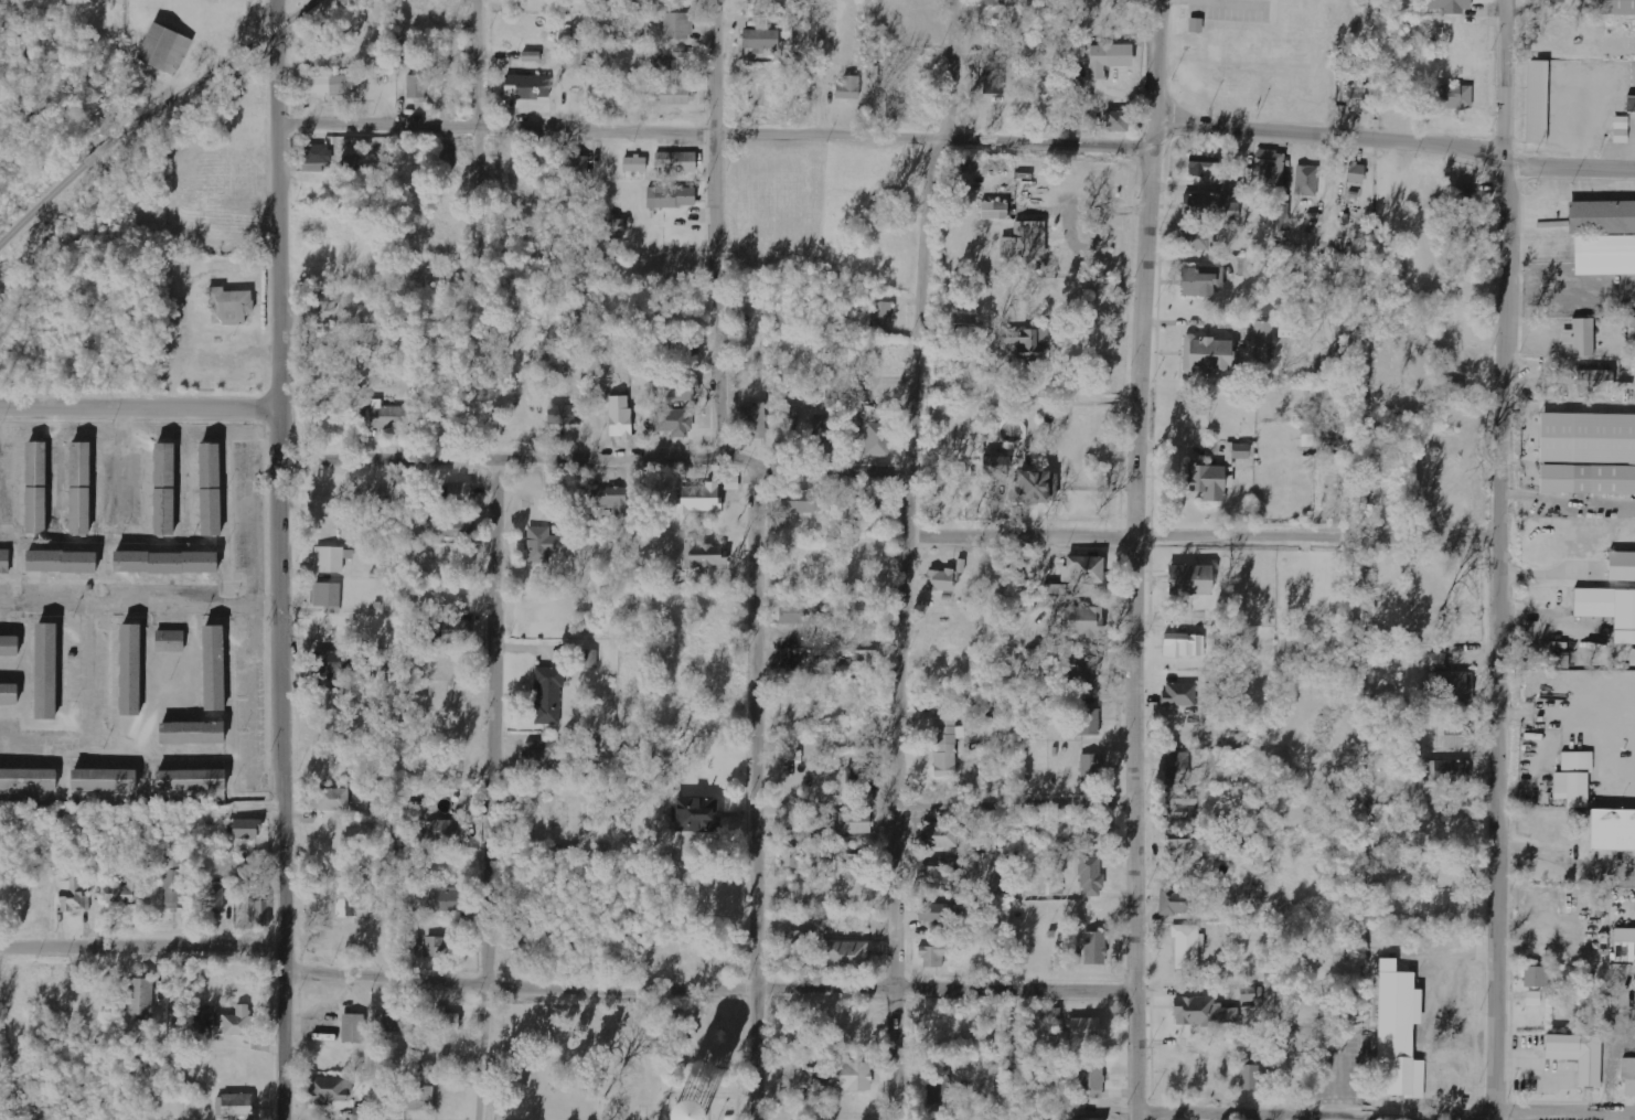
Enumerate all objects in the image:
building: (1552, 1)
building: (1451, 6)
building: (1614, 8)
building: (677, 25)
building: (761, 35)
building: (163, 49)
building: (994, 49)
building: (319, 54)
building: (1108, 58)
building: (669, 61)
road: (213, 71)
building: (993, 82)
building: (333, 85)
building: (417, 86)
building: (526, 87)
building: (848, 87)
building: (1072, 89)
building: (674, 95)
building: (1453, 96)
building: (1356, 97)
building: (1537, 102)
building: (1119, 120)
road: (480, 122)
building: (1621, 129)
road: (717, 134)
road: (1396, 145)
road: (97, 152)
building: (324, 152)
building: (676, 161)
building: (635, 163)
building: (1203, 166)
building: (577, 168)
building: (1271, 168)
building: (1355, 172)
building: (1306, 181)
building: (1462, 194)
building: (671, 196)
building: (1206, 202)
road: (42, 203)
building: (994, 210)
road: (716, 226)
building: (1602, 238)
building: (1197, 239)
building: (1025, 241)
building: (1200, 280)
building: (327, 302)
building: (229, 306)
building: (880, 316)
building: (962, 326)
building: (1631, 329)
building: (1578, 338)
building: (1262, 342)
building: (1022, 345)
building: (1206, 354)
building: (1593, 381)
building: (677, 390)
building: (1450, 391)
road: (138, 409)
building: (792, 415)
building: (387, 417)
building: (618, 419)
building: (754, 420)
building: (674, 423)
building: (824, 430)
building: (1585, 437)
building: (876, 439)
road: (597, 456)
building: (995, 466)
building: (1585, 479)
building: (1207, 481)
building: (1033, 488)
building: (34, 491)
building: (78, 491)
building: (162, 491)
building: (209, 492)
building: (459, 493)
building: (699, 498)
building: (609, 499)
building: (801, 501)
building: (867, 501)
building: (453, 525)
road: (1205, 533)
building: (543, 544)
building: (704, 555)
road: (910, 556)
building: (332, 558)
road: (282, 559)
road: (1130, 559)
road: (1497, 559)
building: (3, 563)
building: (61, 565)
building: (165, 565)
building: (960, 566)
building: (1621, 568)
building: (1082, 569)
building: (941, 580)
building: (1189, 580)
building: (1051, 589)
building: (327, 595)
road: (141, 606)
building: (1609, 611)
building: (792, 614)
building: (1082, 621)
building: (456, 630)
building: (168, 641)
building: (8, 646)
building: (1184, 646)
building: (861, 655)
building: (795, 658)
building: (589, 659)
building: (1559, 660)
building: (331, 664)
building: (213, 669)
building: (129, 670)
building: (44, 672)
building: (1081, 672)
building: (1454, 685)
building: (1179, 694)
building: (8, 695)
building: (548, 695)
building: (332, 698)
road: (87, 715)
building: (1089, 722)
building: (191, 734)
building: (1455, 736)
building: (945, 745)
building: (541, 755)
building: (1090, 762)
building: (1177, 768)
building: (1447, 771)
building: (863, 776)
building: (1570, 778)
building: (1383, 780)
building: (28, 781)
building: (103, 781)
building: (190, 781)
road: (490, 789)
road: (759, 791)
building: (332, 799)
road: (944, 799)
building: (1178, 802)
road: (1406, 810)
building: (696, 814)
building: (853, 823)
building: (247, 829)
building: (445, 831)
building: (1611, 831)
building: (1091, 832)
building: (82, 833)
building: (938, 835)
building: (1184, 847)
building: (790, 858)
building: (940, 870)
building: (246, 871)
building: (1091, 876)
building: (174, 883)
building: (73, 892)
building: (125, 893)
building: (211, 898)
building: (444, 899)
building: (1176, 902)
building: (365, 909)
building: (939, 913)
building: (259, 914)
building: (799, 938)
road: (142, 946)
building: (1624, 946)
building: (439, 947)
building: (1187, 947)
building: (1094, 949)
building: (845, 953)
building: (933, 956)
building: (1536, 978)
road: (710, 986)
building: (141, 996)
building: (1534, 999)
building: (1203, 1012)
building: (445, 1021)
building: (398, 1022)
building: (237, 1023)
building: (1396, 1027)
building: (354, 1028)
building: (1087, 1030)
building: (1578, 1056)
building: (1627, 1076)
building: (851, 1077)
building: (1249, 1077)
building: (1091, 1082)
building: (939, 1087)
building: (331, 1090)
building: (420, 1098)
building: (237, 1106)
building: (671, 1112)
building: (363, 1113)
road: (1385, 1113)
water tower: (685, 1117)
building: (1087, 1119)

